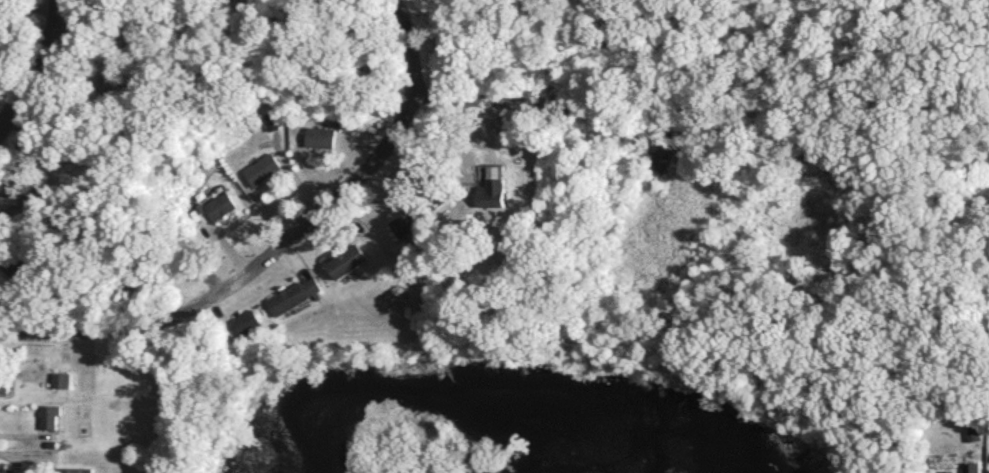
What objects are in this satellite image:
road: (41, 64)
building: (111, 84)
road: (479, 102)
building: (269, 120)
building: (319, 136)
building: (261, 168)
building: (493, 192)
building: (20, 198)
building: (218, 206)
building: (407, 220)
road: (280, 247)
building: (347, 260)
building: (15, 268)
building: (127, 285)
building: (295, 294)
building: (248, 321)
building: (61, 379)
building: (4, 387)
building: (49, 416)
building: (970, 467)
building: (7, 468)
building: (77, 470)
building: (472, 470)

